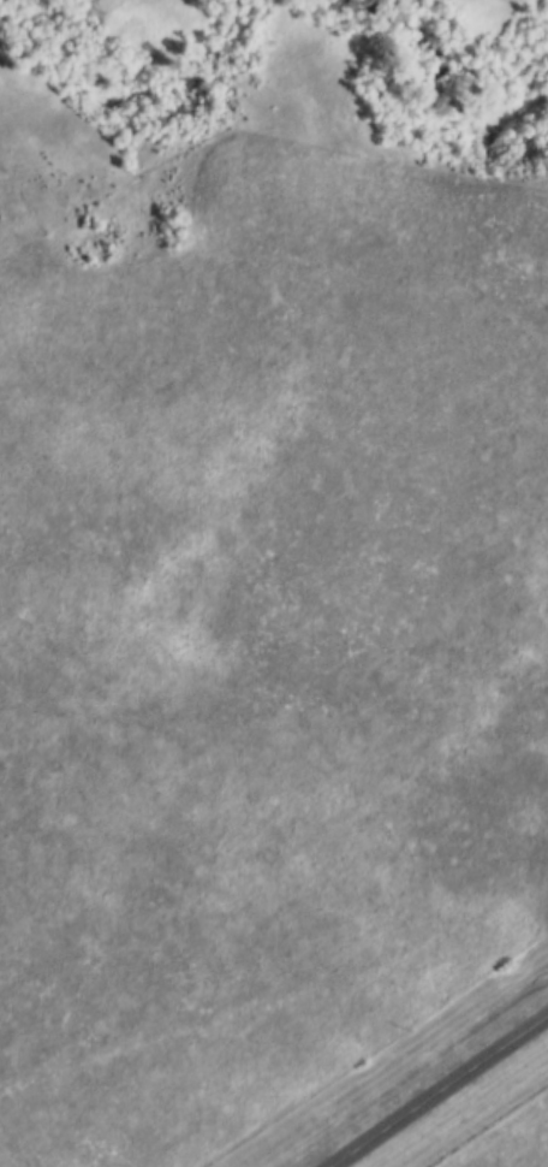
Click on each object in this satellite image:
road: (440, 1090)

